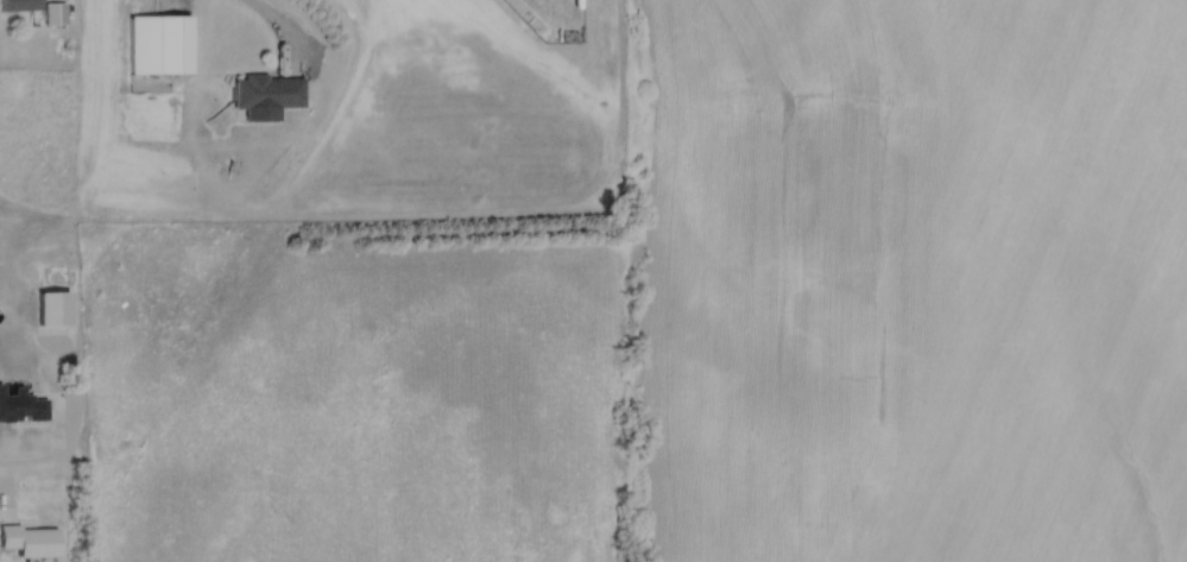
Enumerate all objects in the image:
building: (20, 5)
building: (160, 44)
building: (269, 91)
road: (29, 463)

